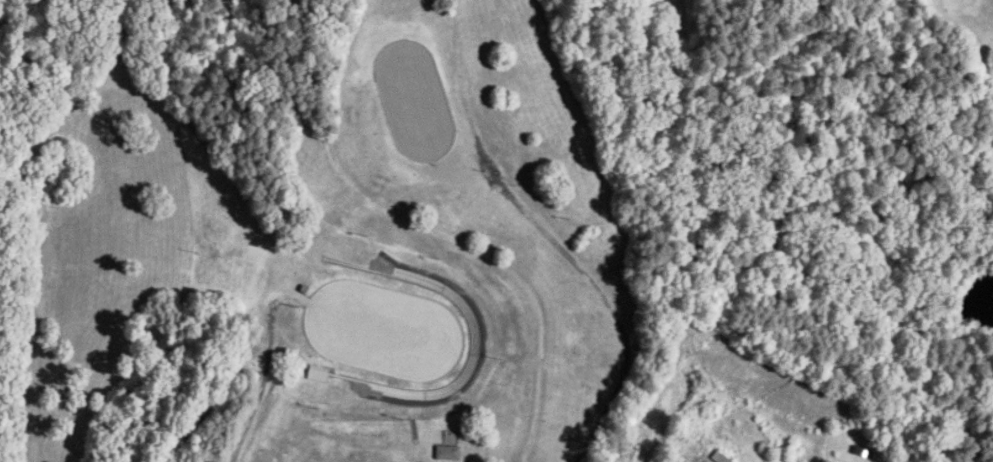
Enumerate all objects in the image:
road: (293, 231)
road: (568, 235)
building: (447, 453)
road: (470, 453)
building: (722, 458)

